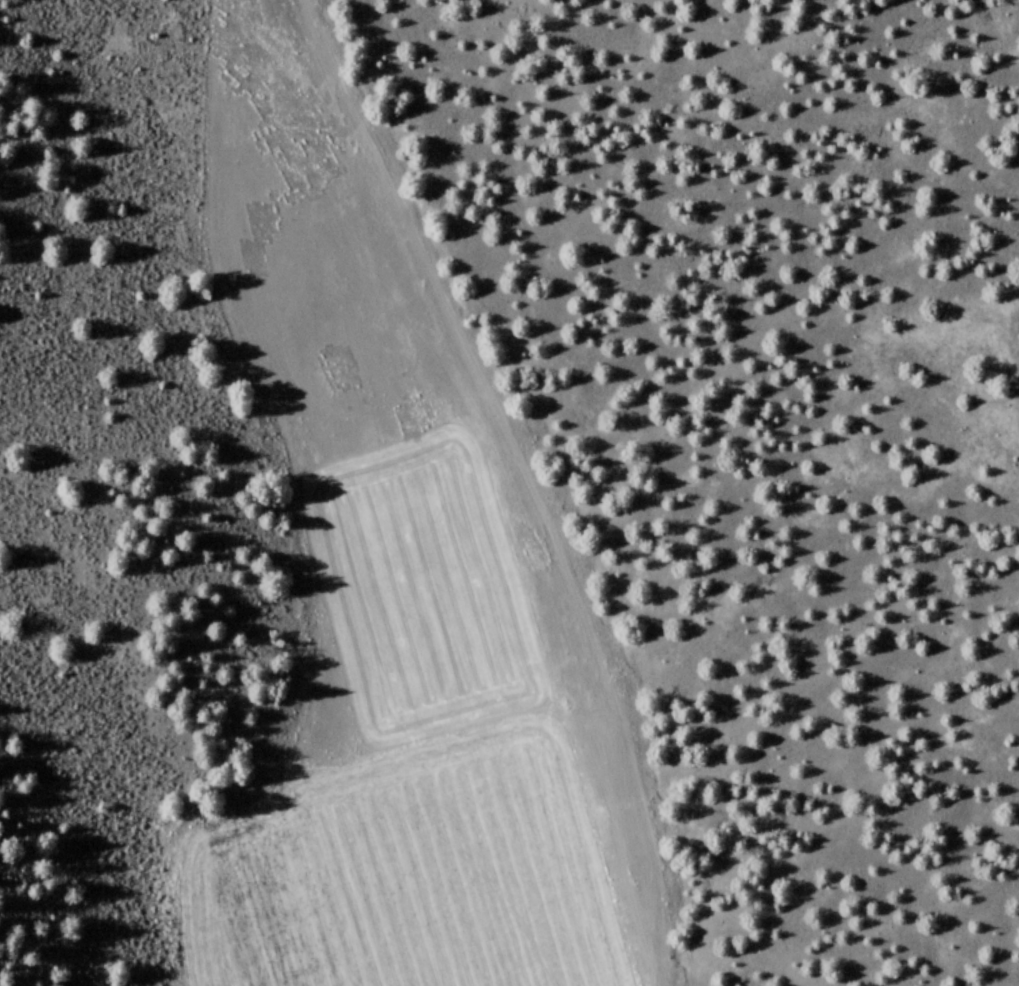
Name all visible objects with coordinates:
road: (653, 928)

